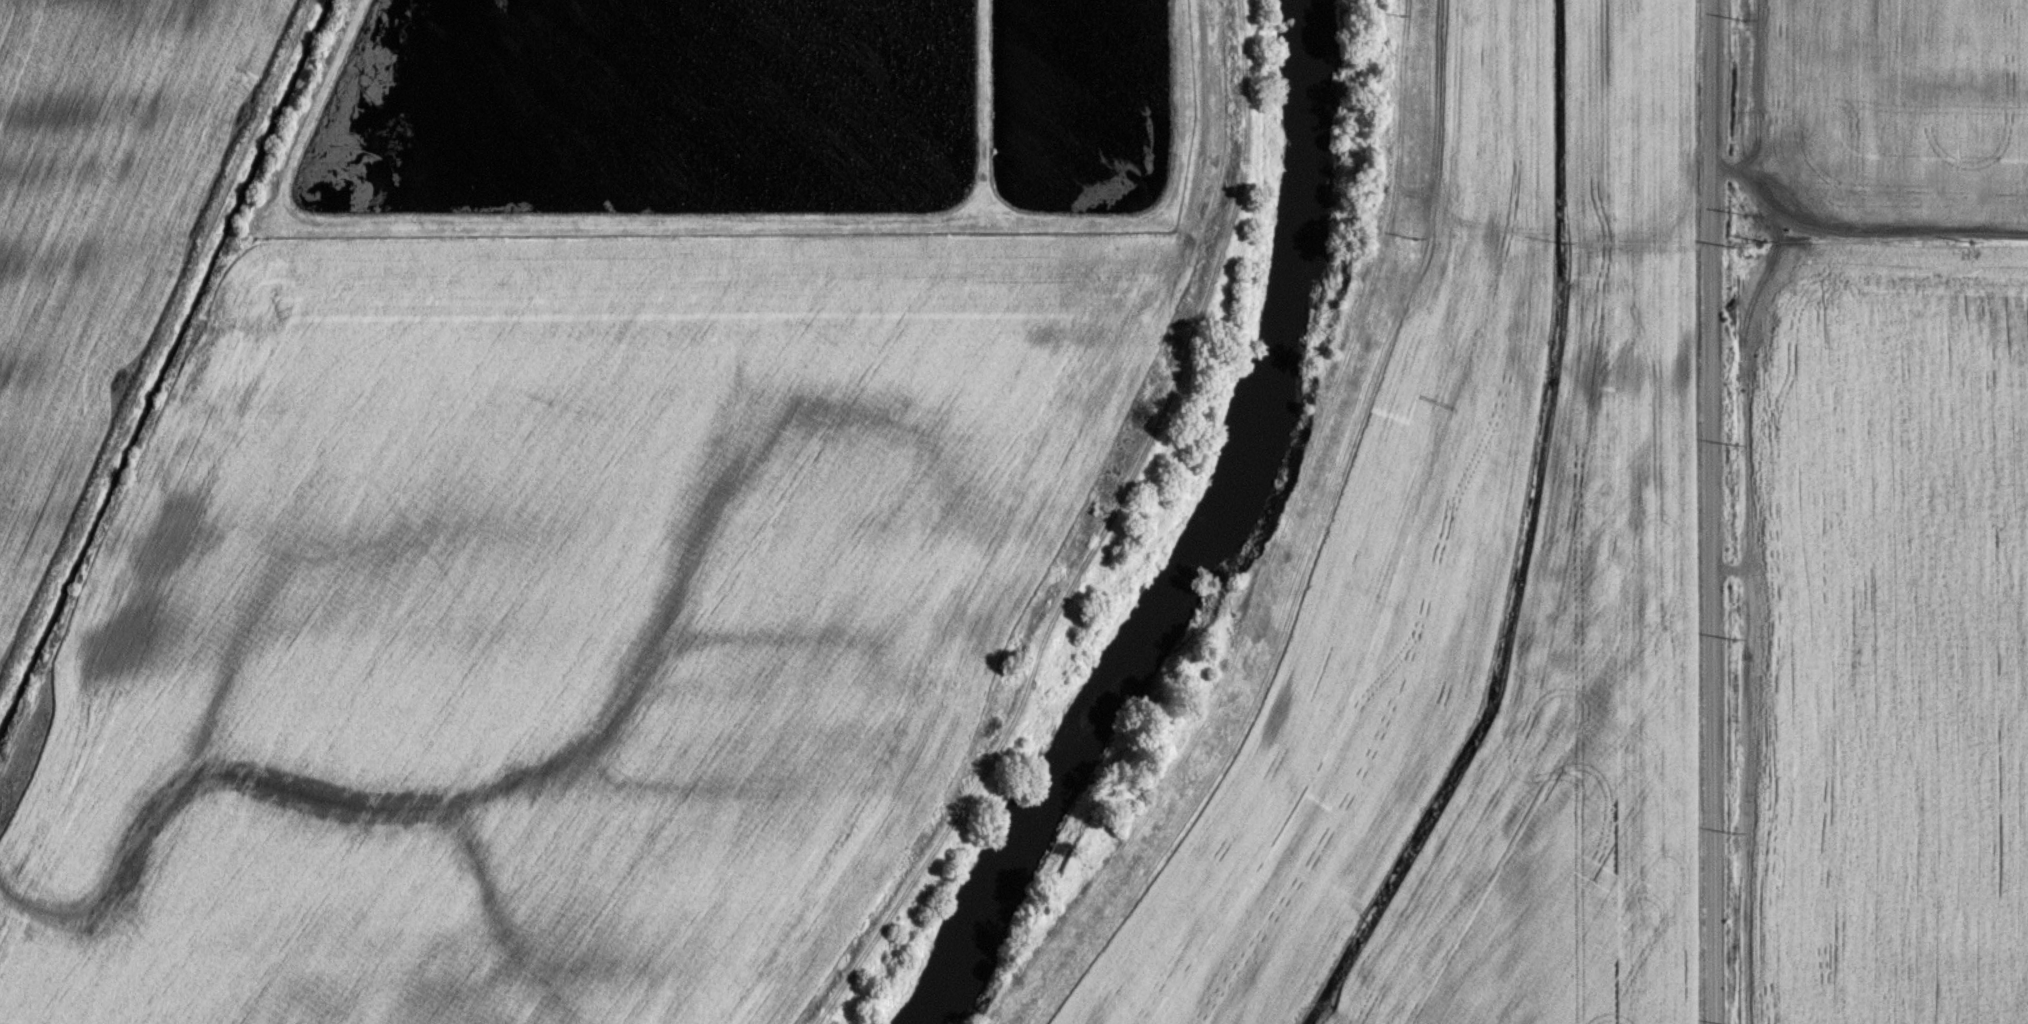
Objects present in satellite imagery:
building: (1110, 186)
road: (1709, 512)
river: (1198, 542)

